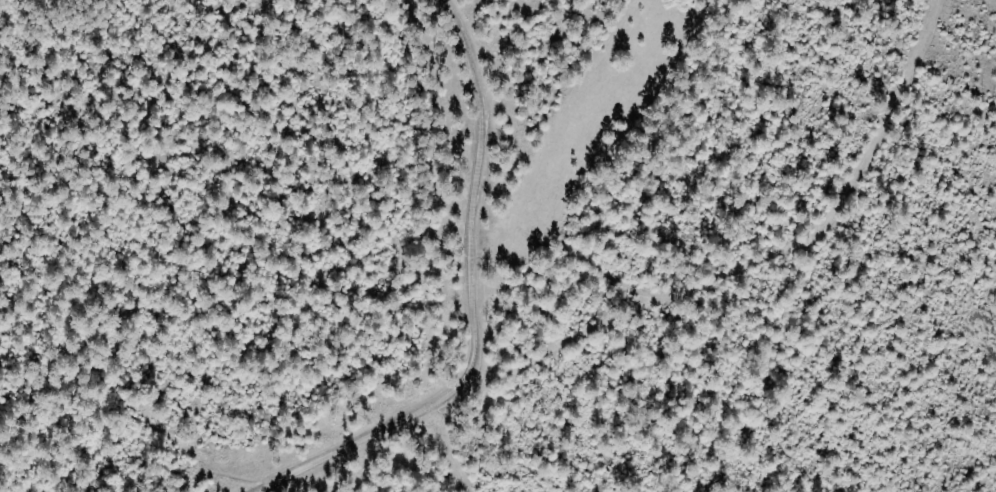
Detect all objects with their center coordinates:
road: (561, 139)
road: (780, 247)
road: (471, 302)
road: (565, 348)
road: (450, 449)

